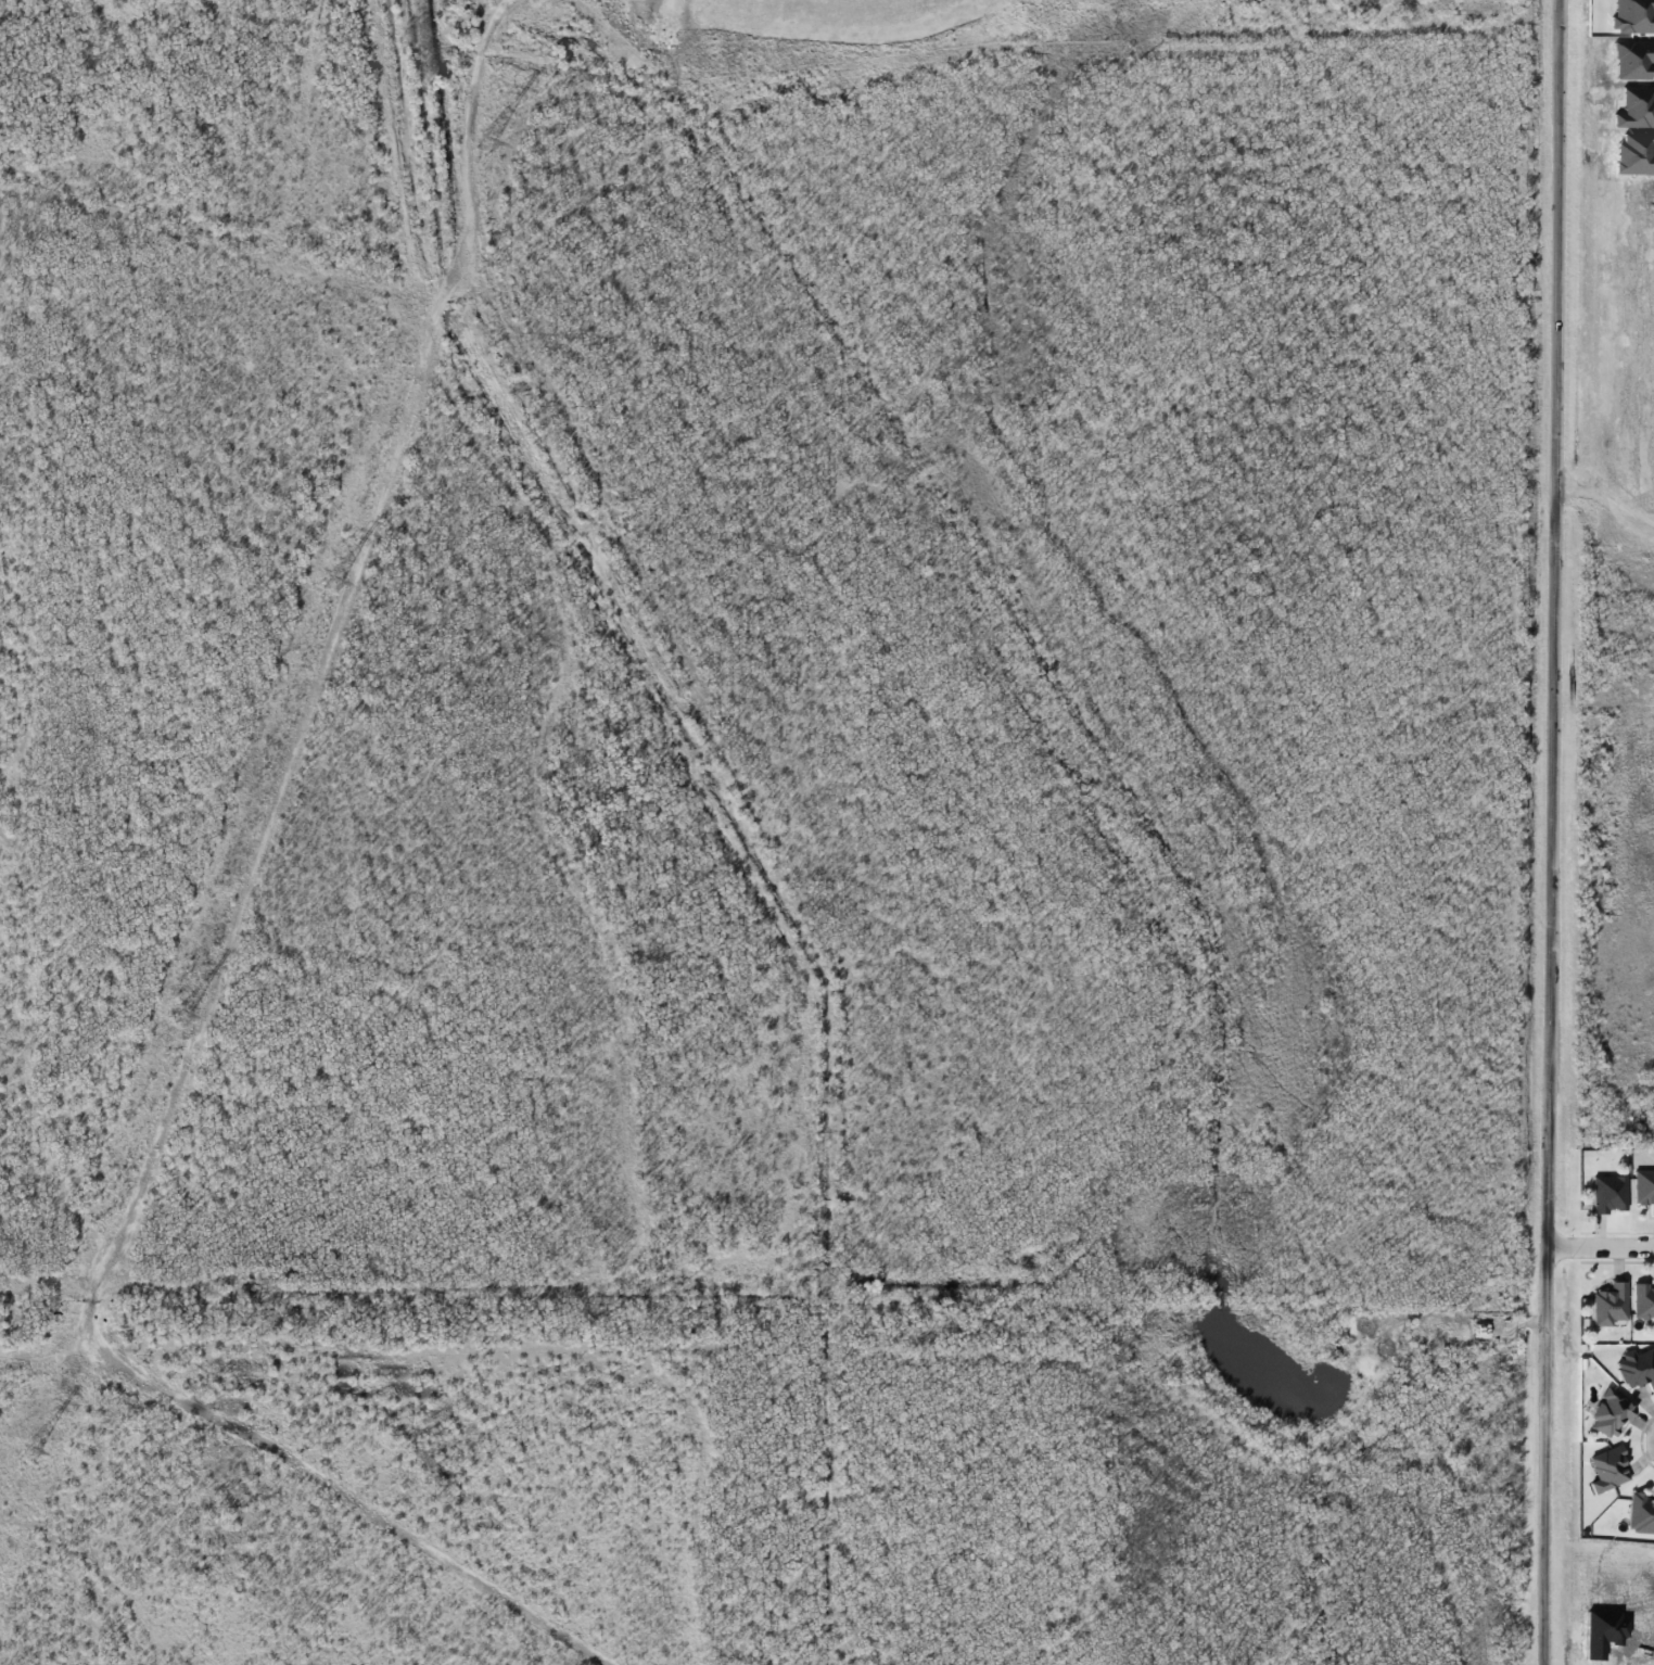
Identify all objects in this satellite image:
road: (1547, 831)
building: (1644, 1187)
building: (1607, 1196)
road: (1599, 1242)
building: (1643, 1298)
building: (1610, 1305)
building: (1638, 1368)
building: (1611, 1413)
building: (1641, 1511)

